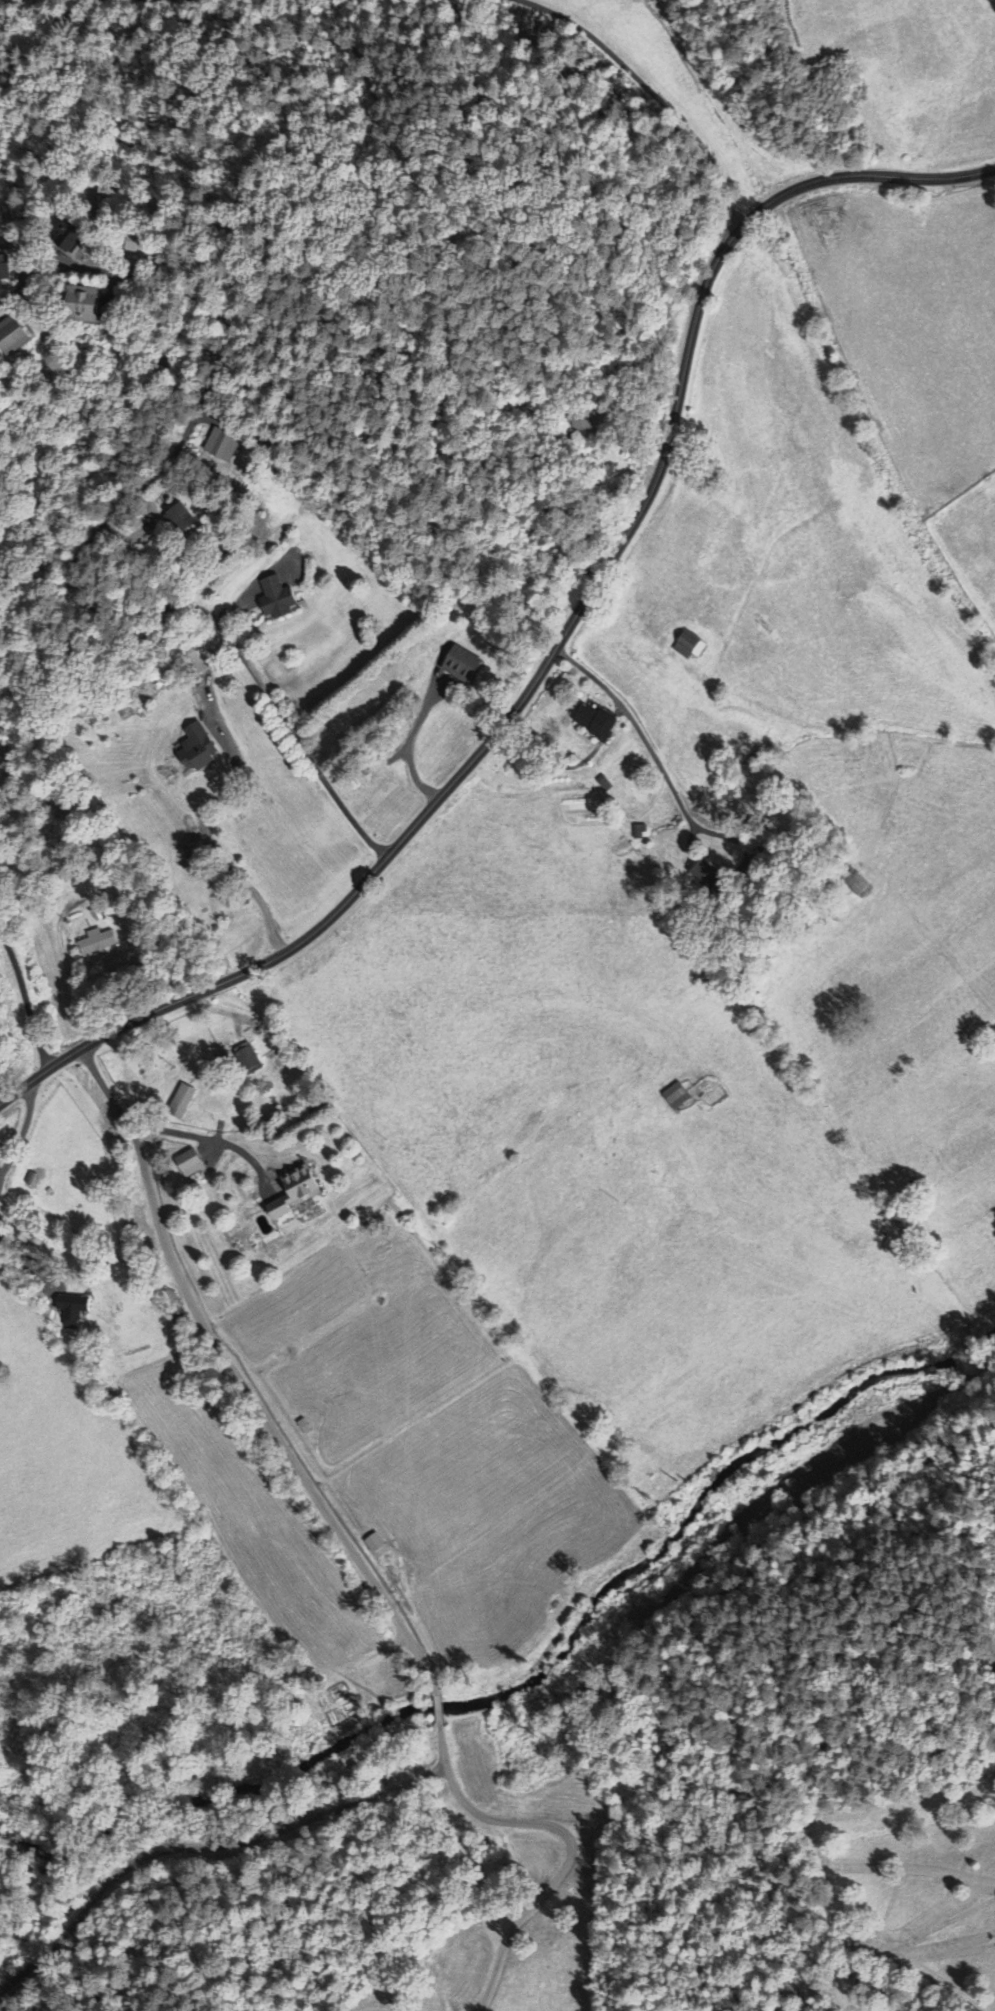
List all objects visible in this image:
road: (641, 103)
road: (907, 175)
road: (793, 188)
building: (87, 305)
building: (16, 336)
building: (225, 447)
building: (184, 521)
road: (96, 534)
building: (282, 599)
building: (692, 647)
building: (467, 665)
building: (598, 722)
road: (488, 740)
building: (203, 749)
building: (101, 947)
road: (27, 998)
building: (678, 1095)
building: (186, 1102)
building: (195, 1164)
building: (303, 1193)
building: (78, 1310)
building: (379, 1544)

